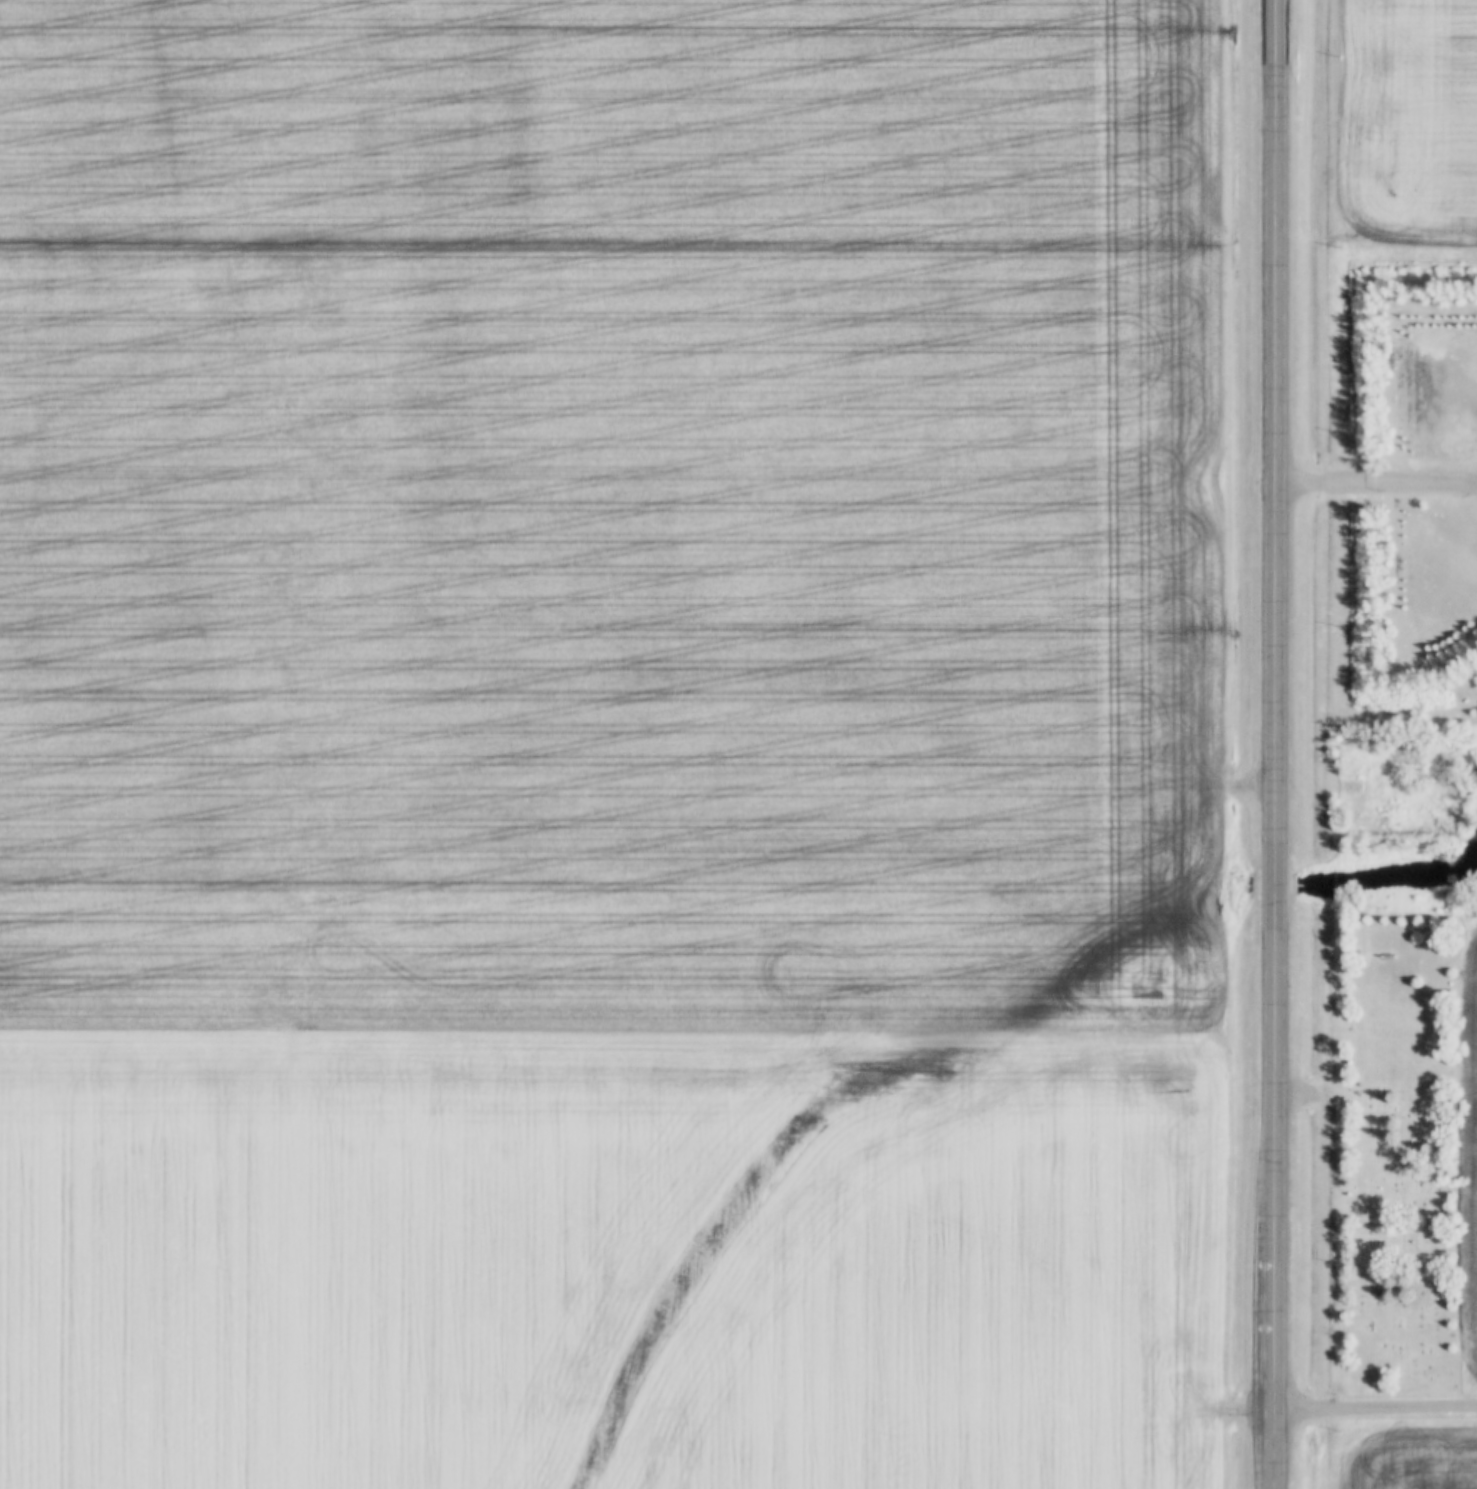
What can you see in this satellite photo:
road: (1374, 484)
road: (1271, 744)
building: (1388, 954)
road: (1374, 1412)

